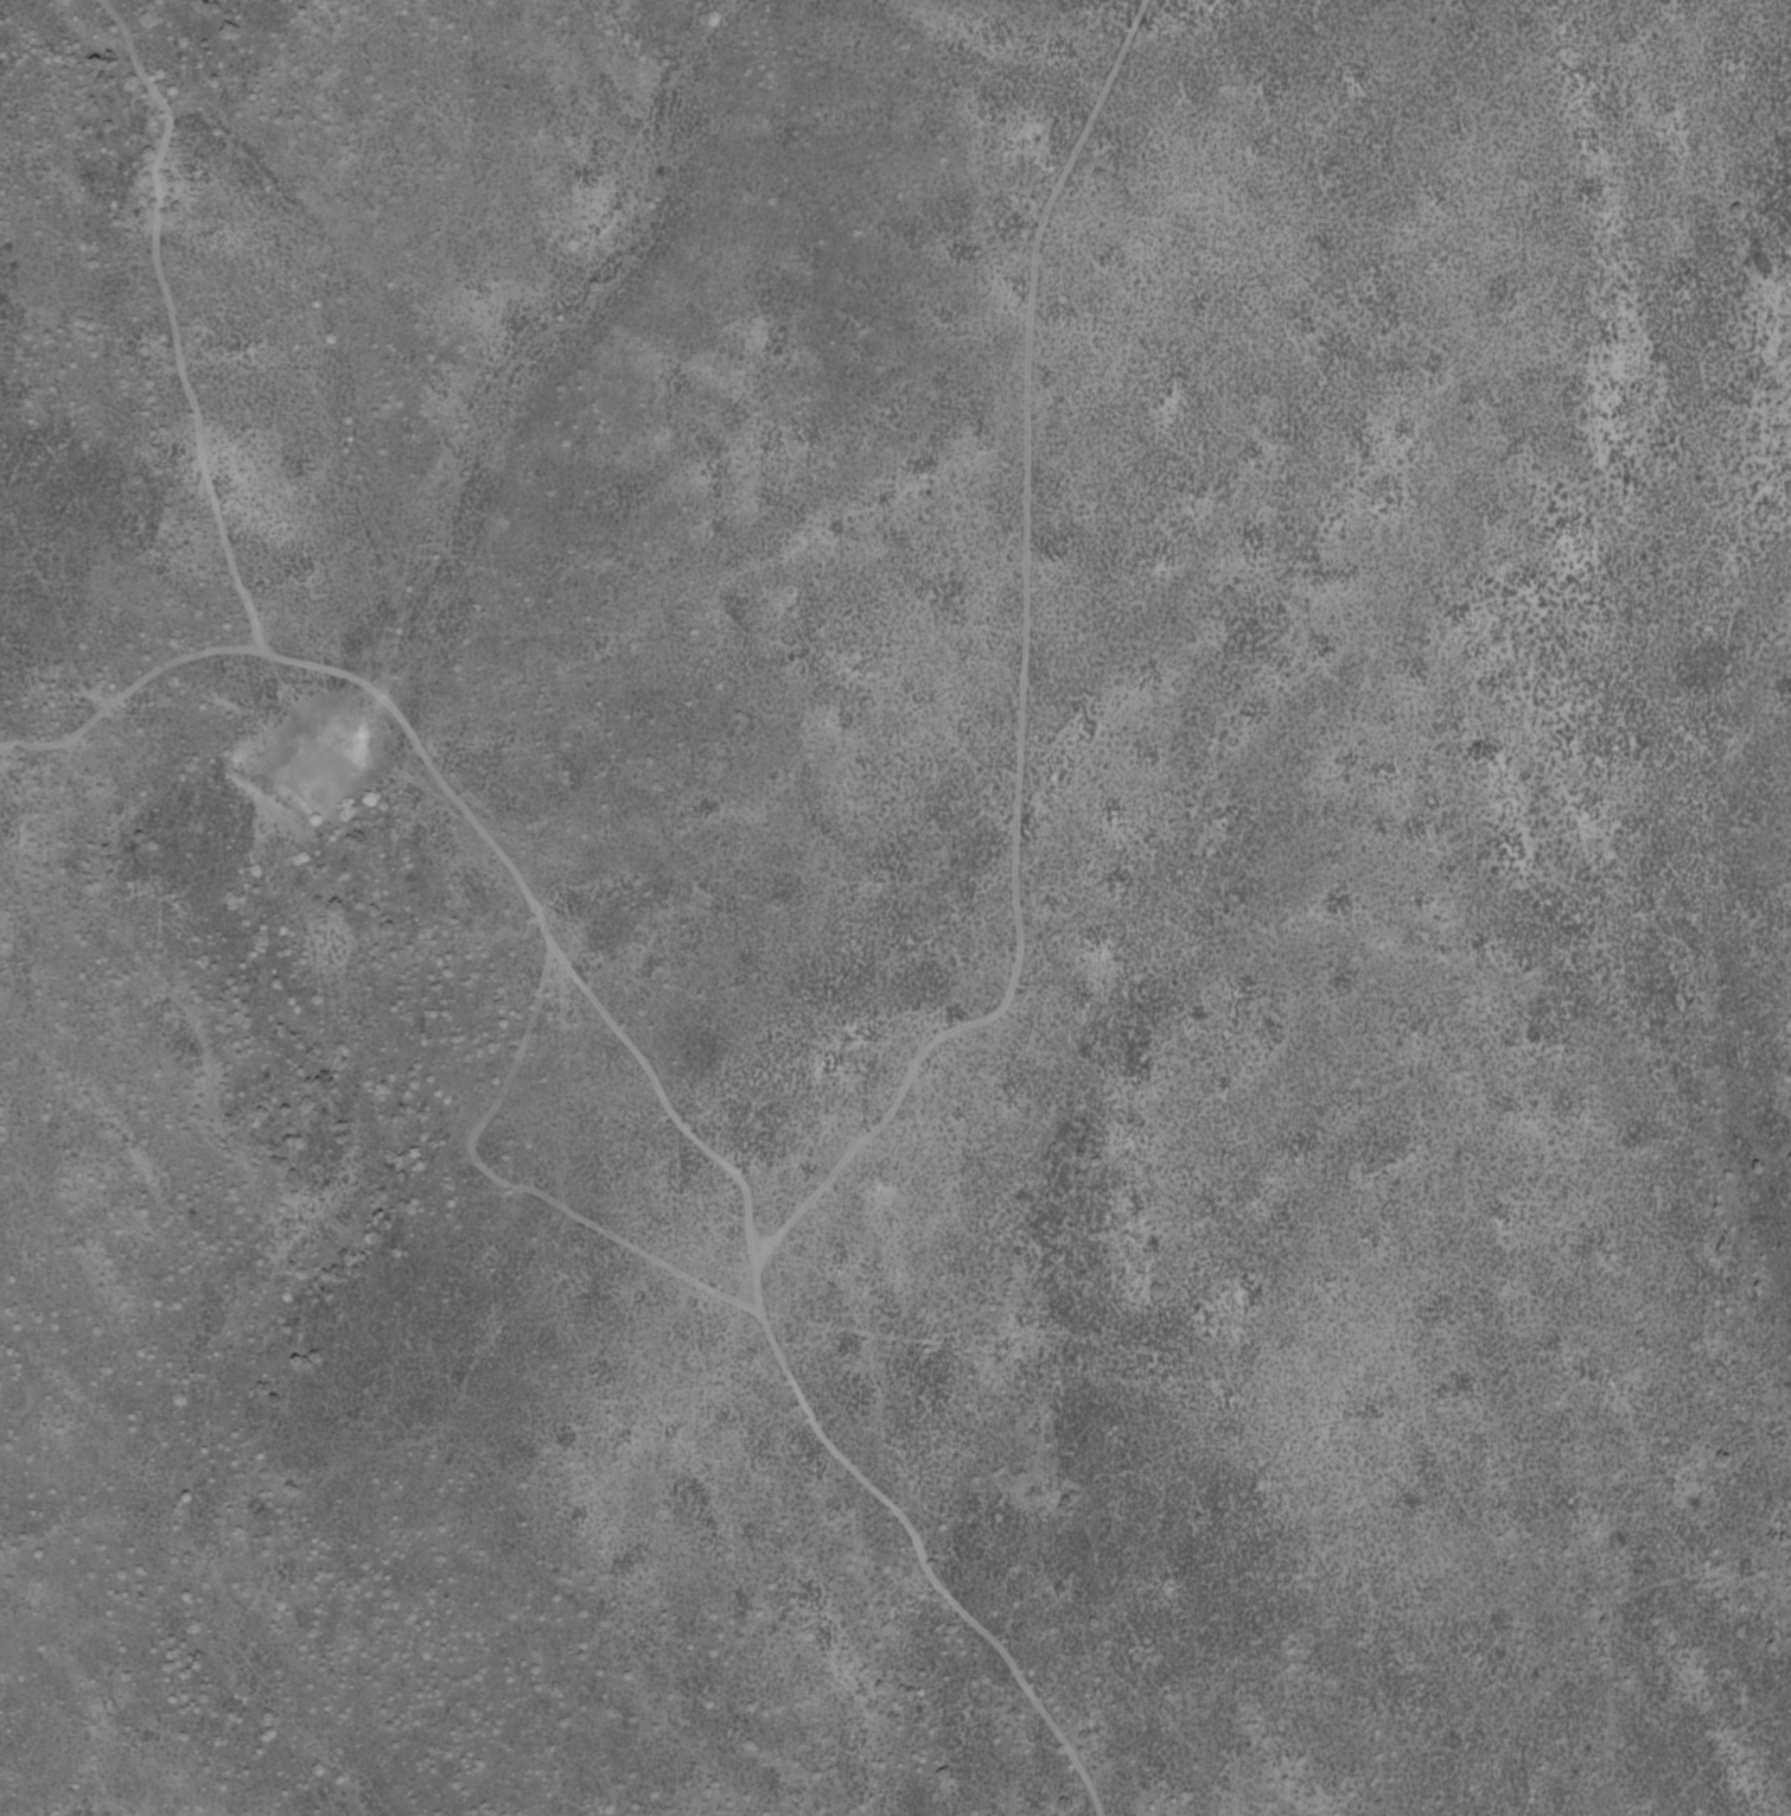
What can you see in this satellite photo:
road: (671, 1028)

